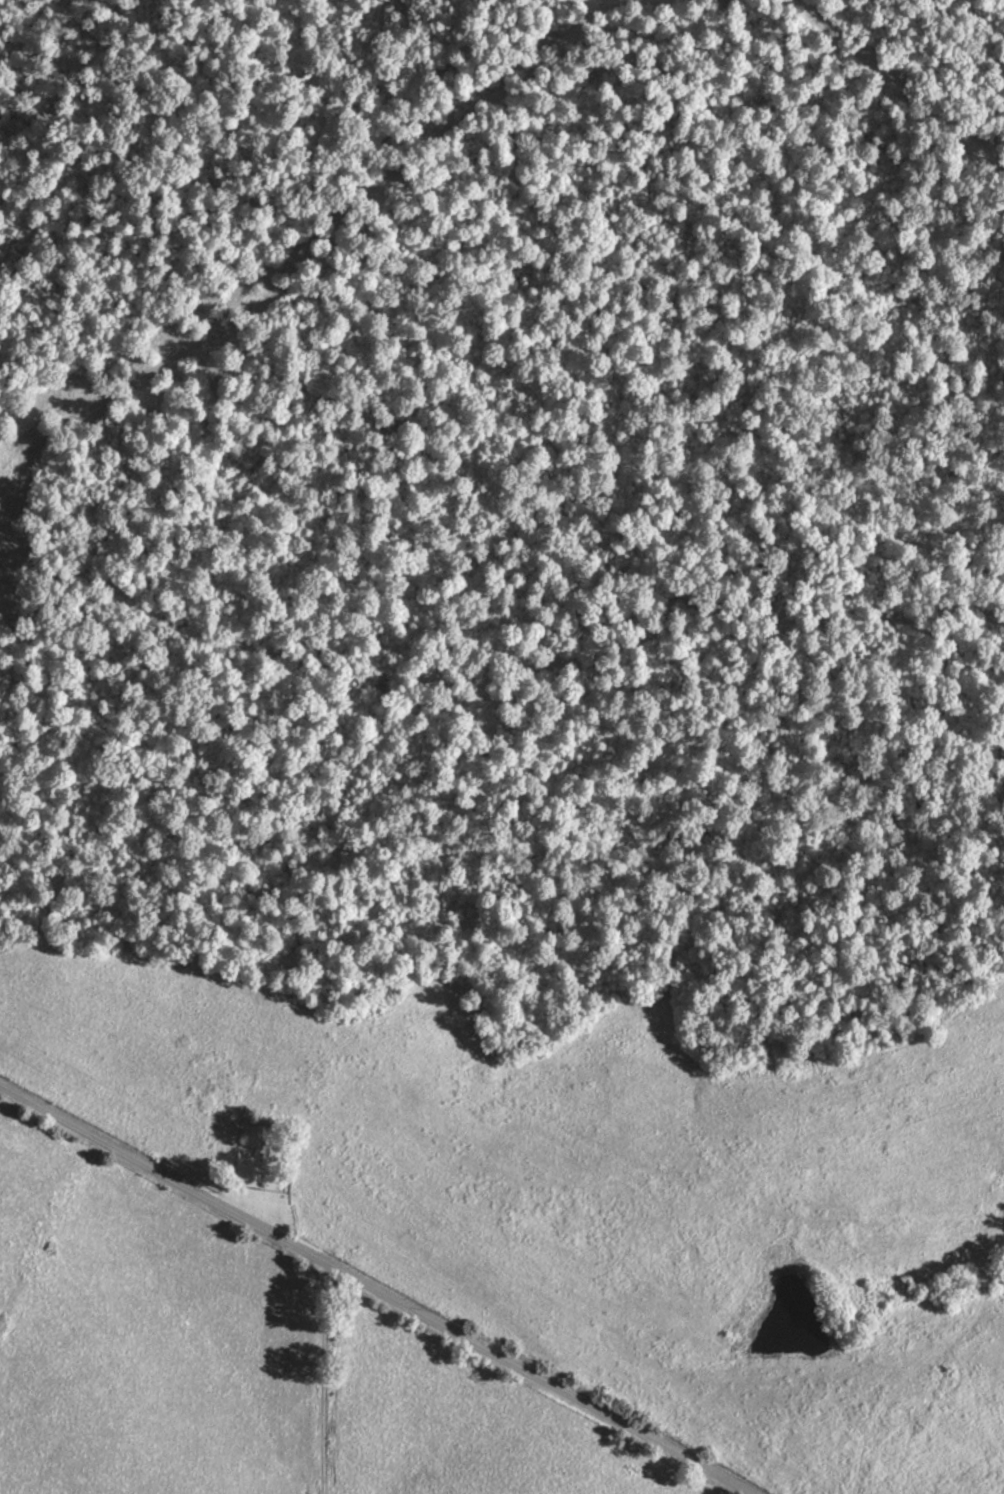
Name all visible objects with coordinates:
park: (263, 1156)
road: (377, 1290)
road: (328, 1380)

